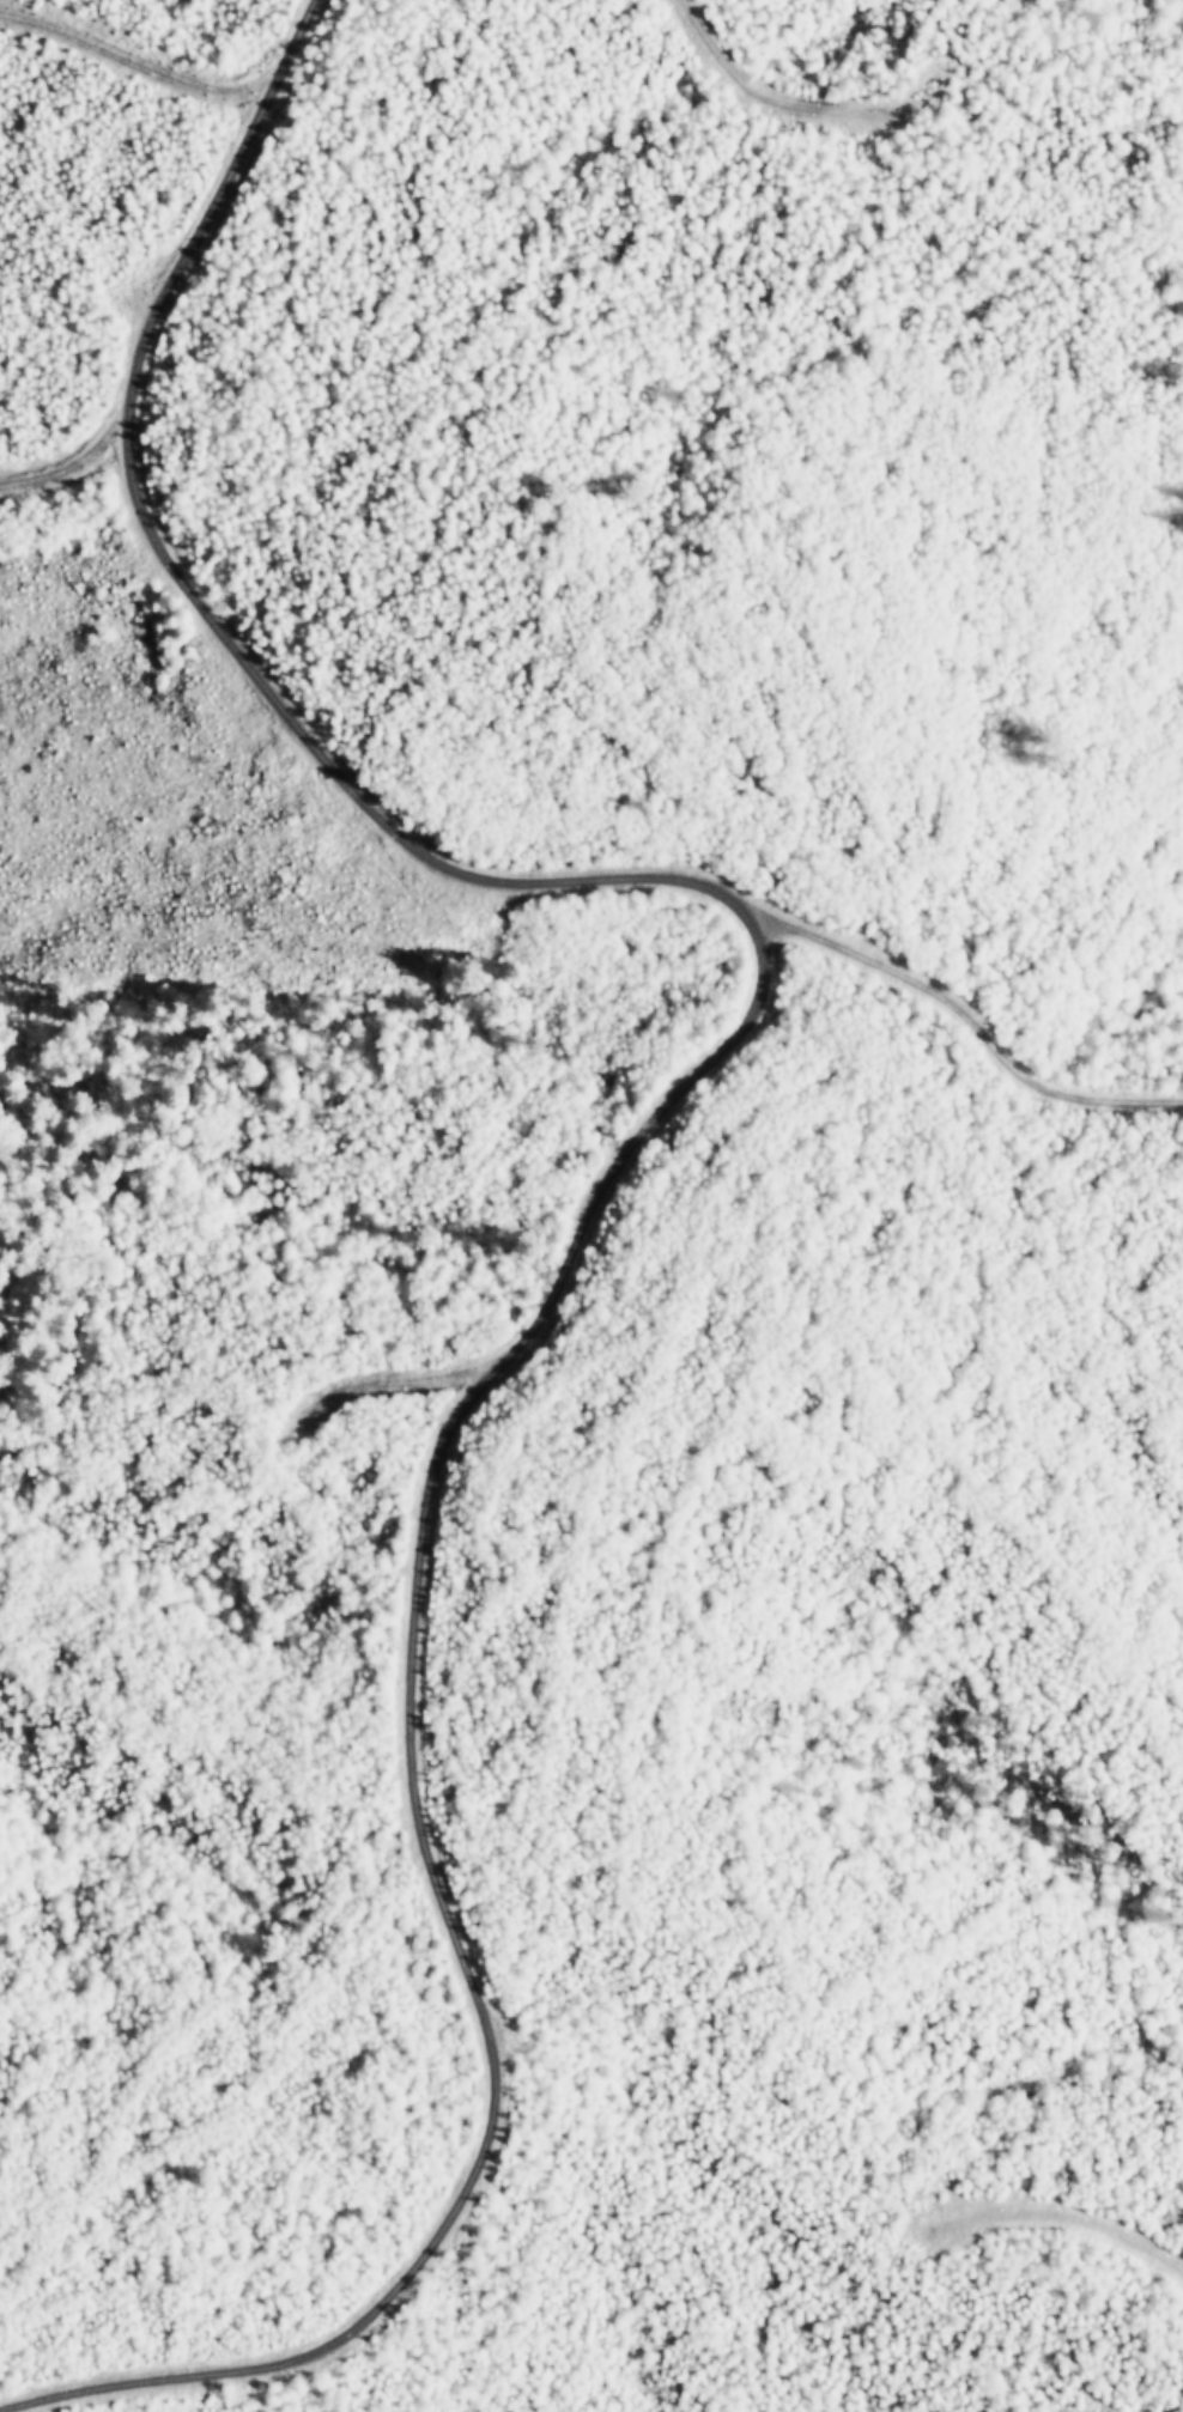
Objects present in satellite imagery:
road: (963, 994)
road: (591, 1186)

